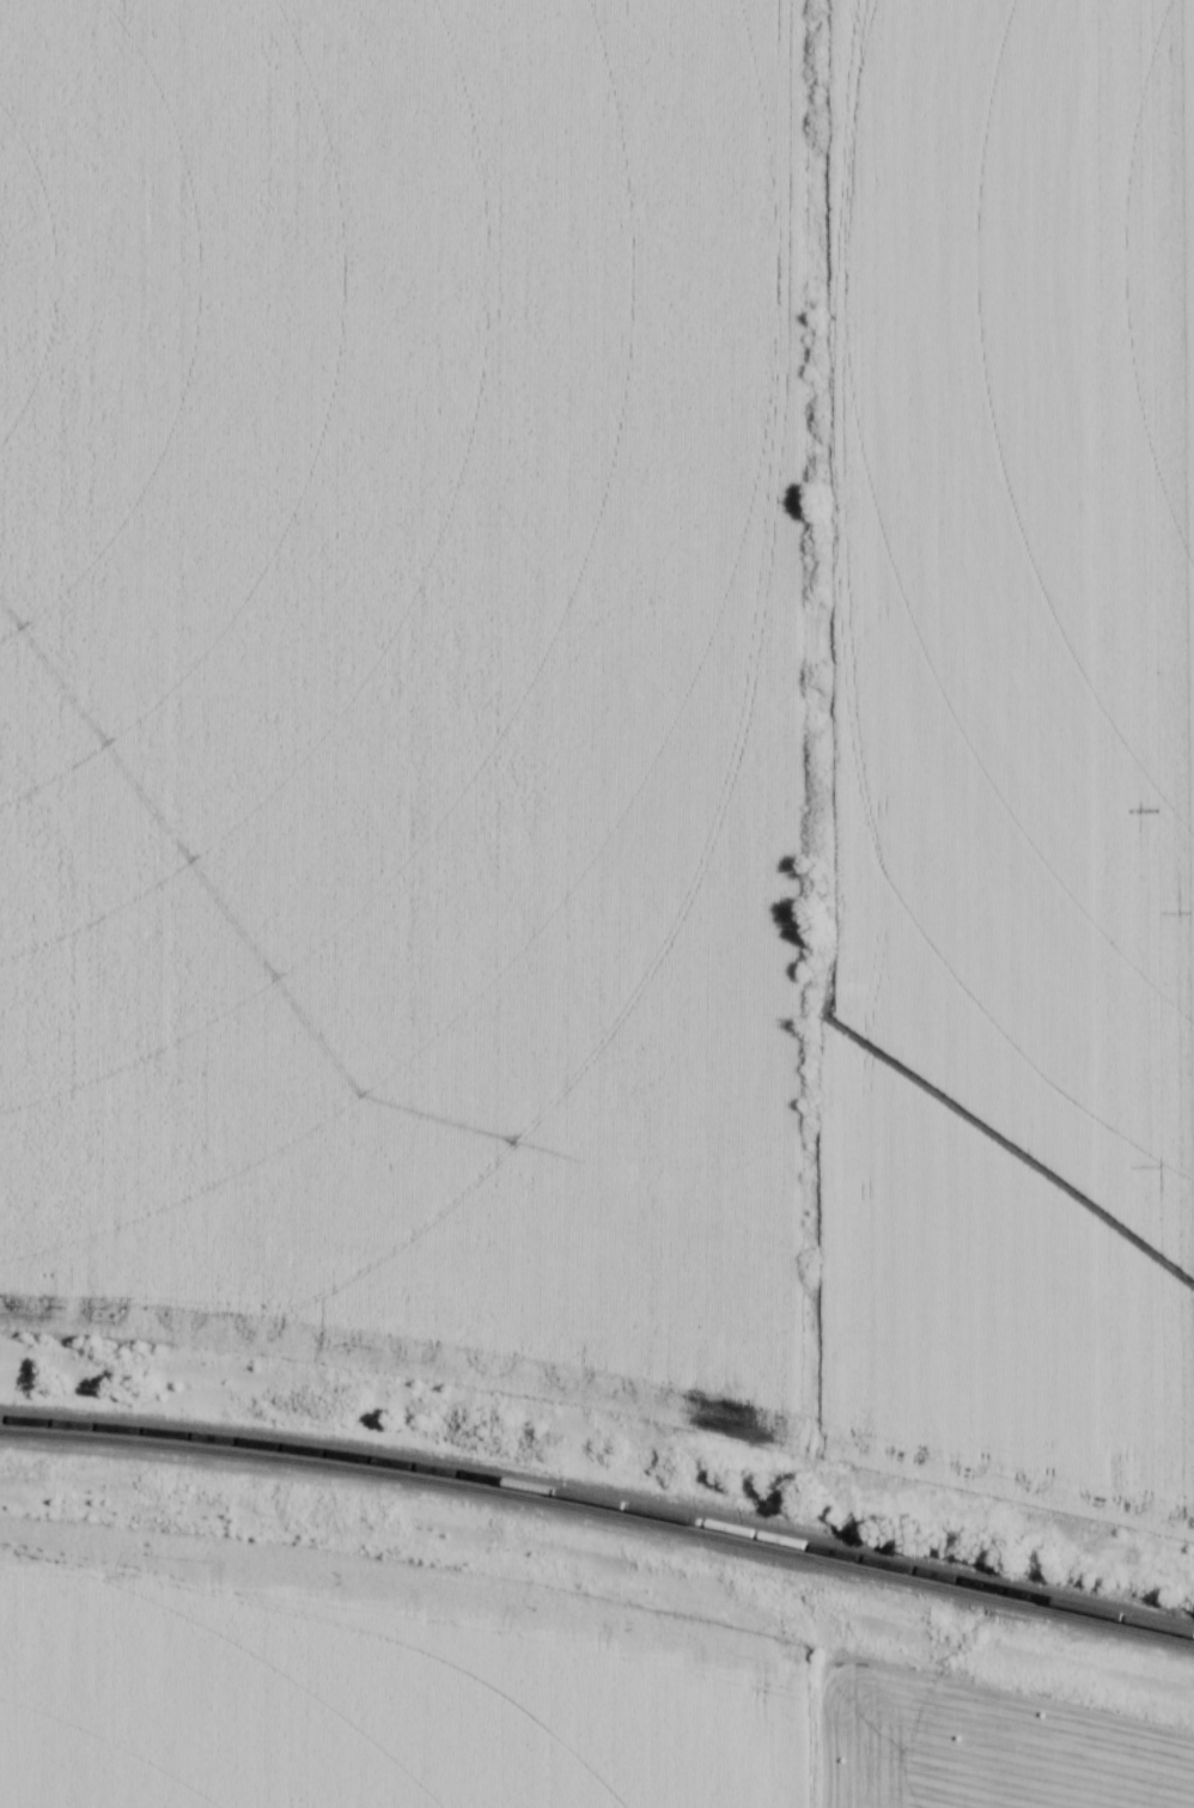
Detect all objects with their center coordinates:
railway: (601, 1500)
railway: (601, 1514)

